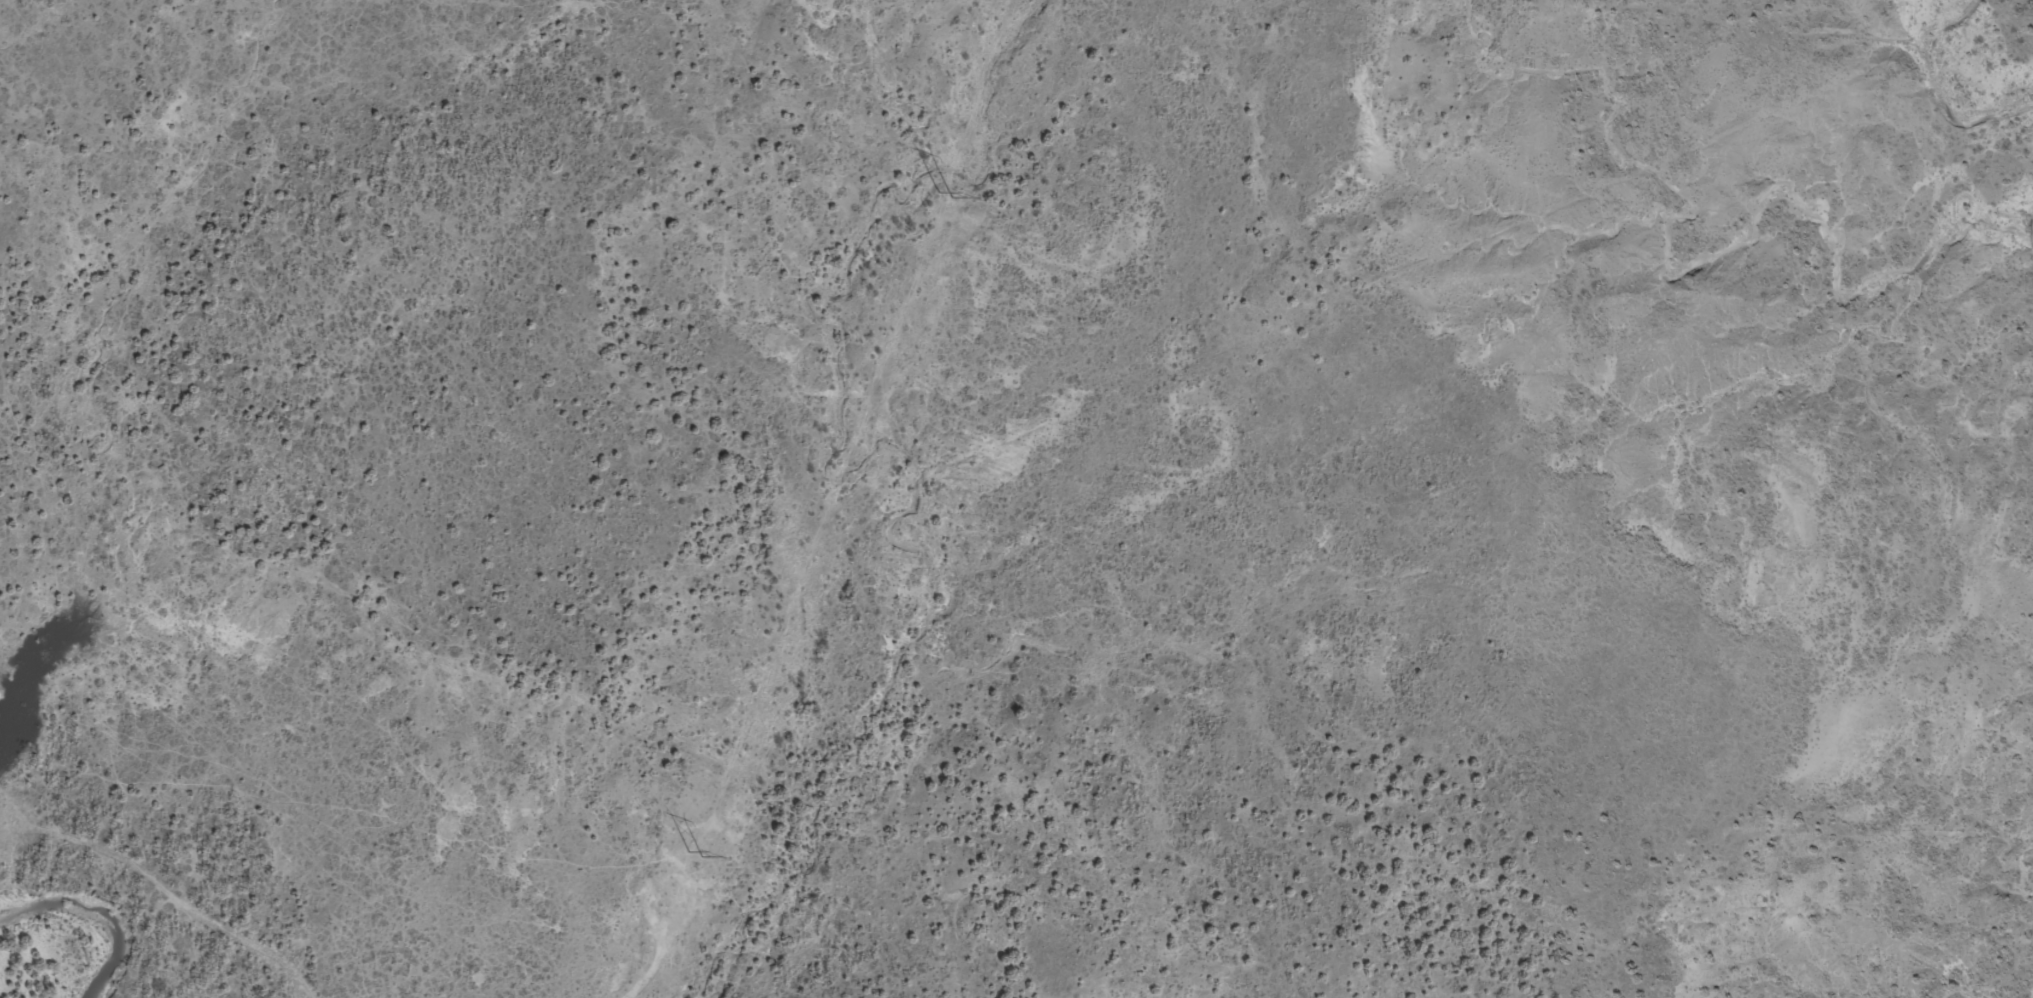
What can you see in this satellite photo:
power tower: (942, 194)
power tower: (692, 854)

